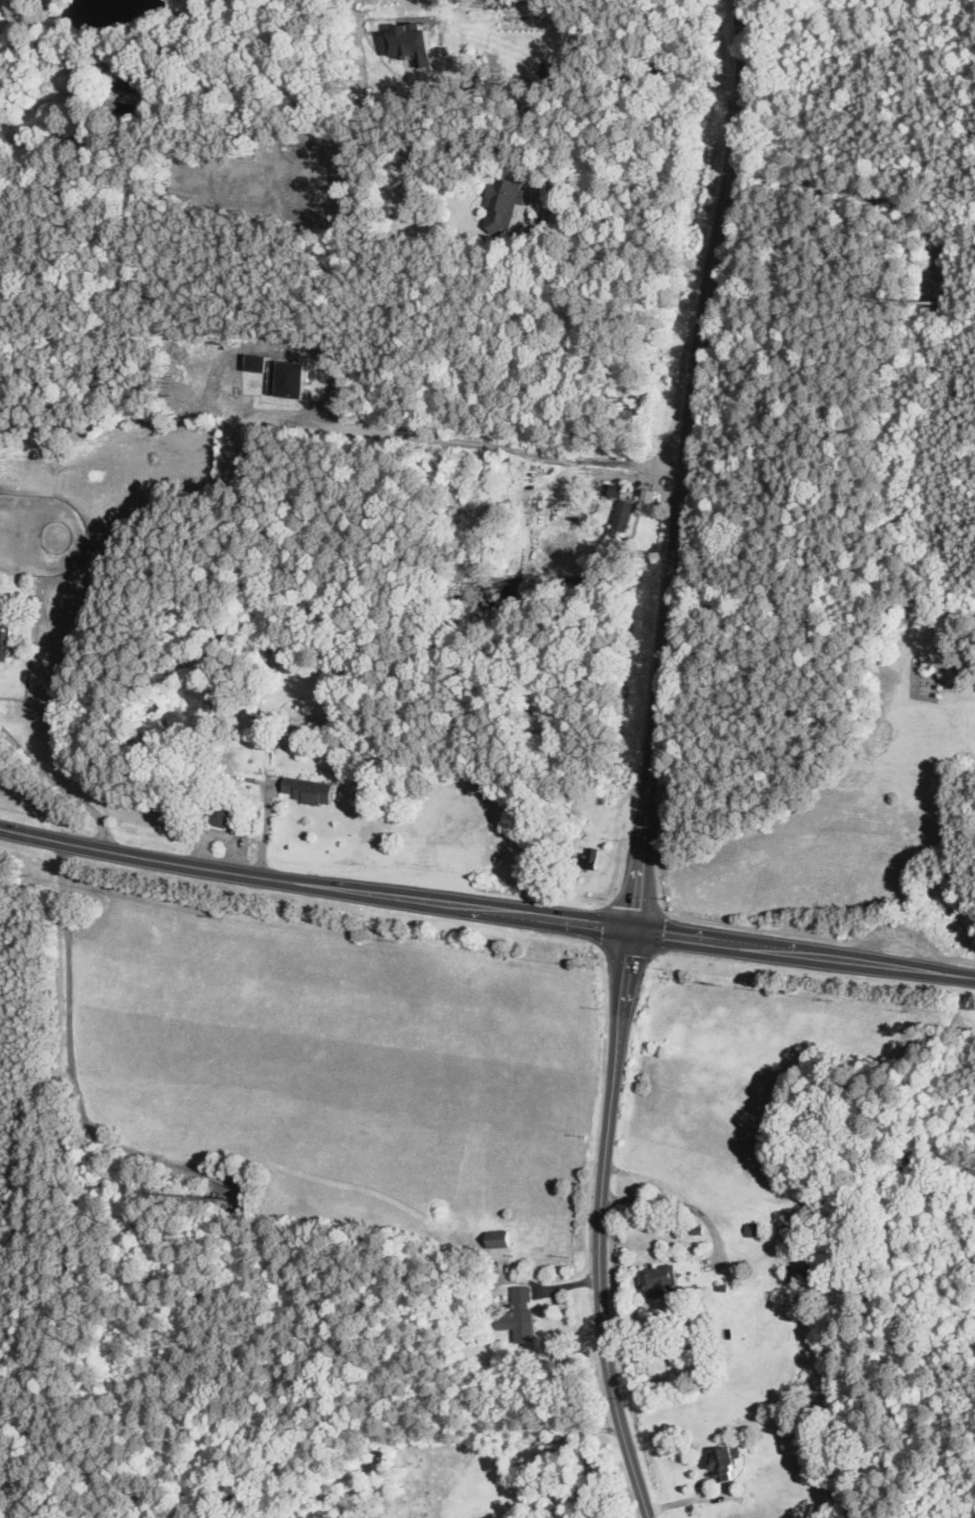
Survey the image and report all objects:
building: (412, 44)
building: (72, 63)
road: (436, 71)
building: (144, 88)
road: (449, 144)
building: (418, 192)
building: (511, 203)
road: (687, 464)
road: (577, 486)
building: (620, 491)
road: (664, 495)
building: (650, 497)
building: (625, 522)
building: (6, 638)
park: (920, 656)
road: (65, 784)
building: (312, 790)
building: (223, 807)
road: (267, 822)
road: (222, 838)
building: (589, 859)
road: (611, 861)
road: (316, 882)
traffic signals: (635, 930)
road: (899, 936)
road: (804, 954)
road: (684, 1204)
road: (600, 1226)
building: (757, 1229)
building: (698, 1230)
building: (498, 1238)
building: (799, 1272)
building: (655, 1279)
road: (565, 1286)
building: (723, 1286)
building: (517, 1314)
park: (654, 1363)
road: (532, 1440)
building: (386, 1458)
building: (724, 1460)
road: (693, 1499)

